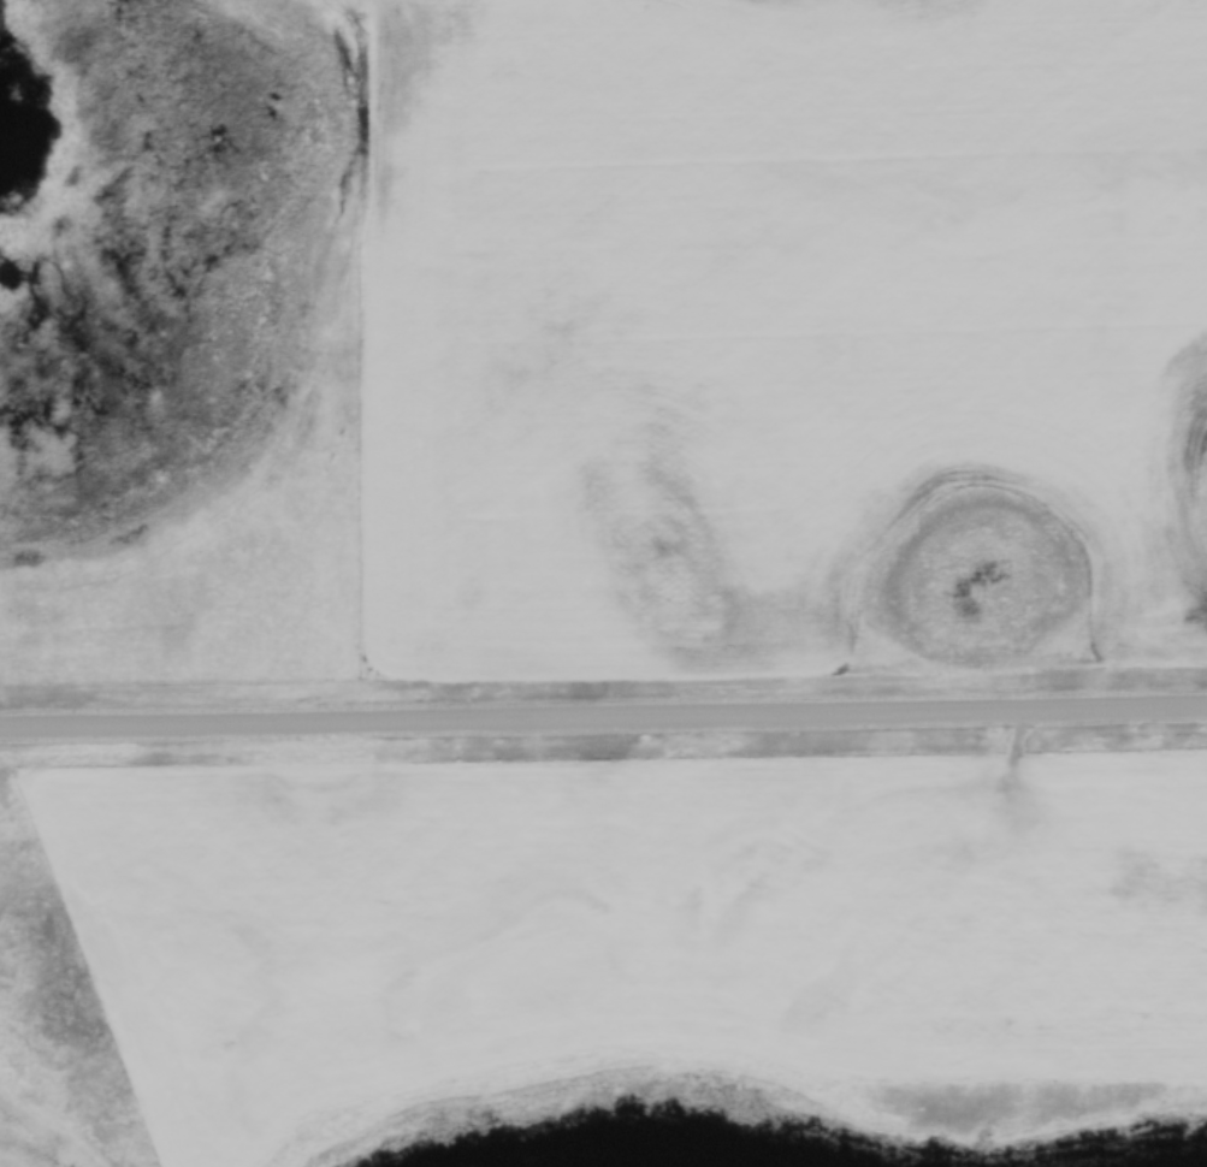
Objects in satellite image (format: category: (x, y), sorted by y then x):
road: (603, 718)

